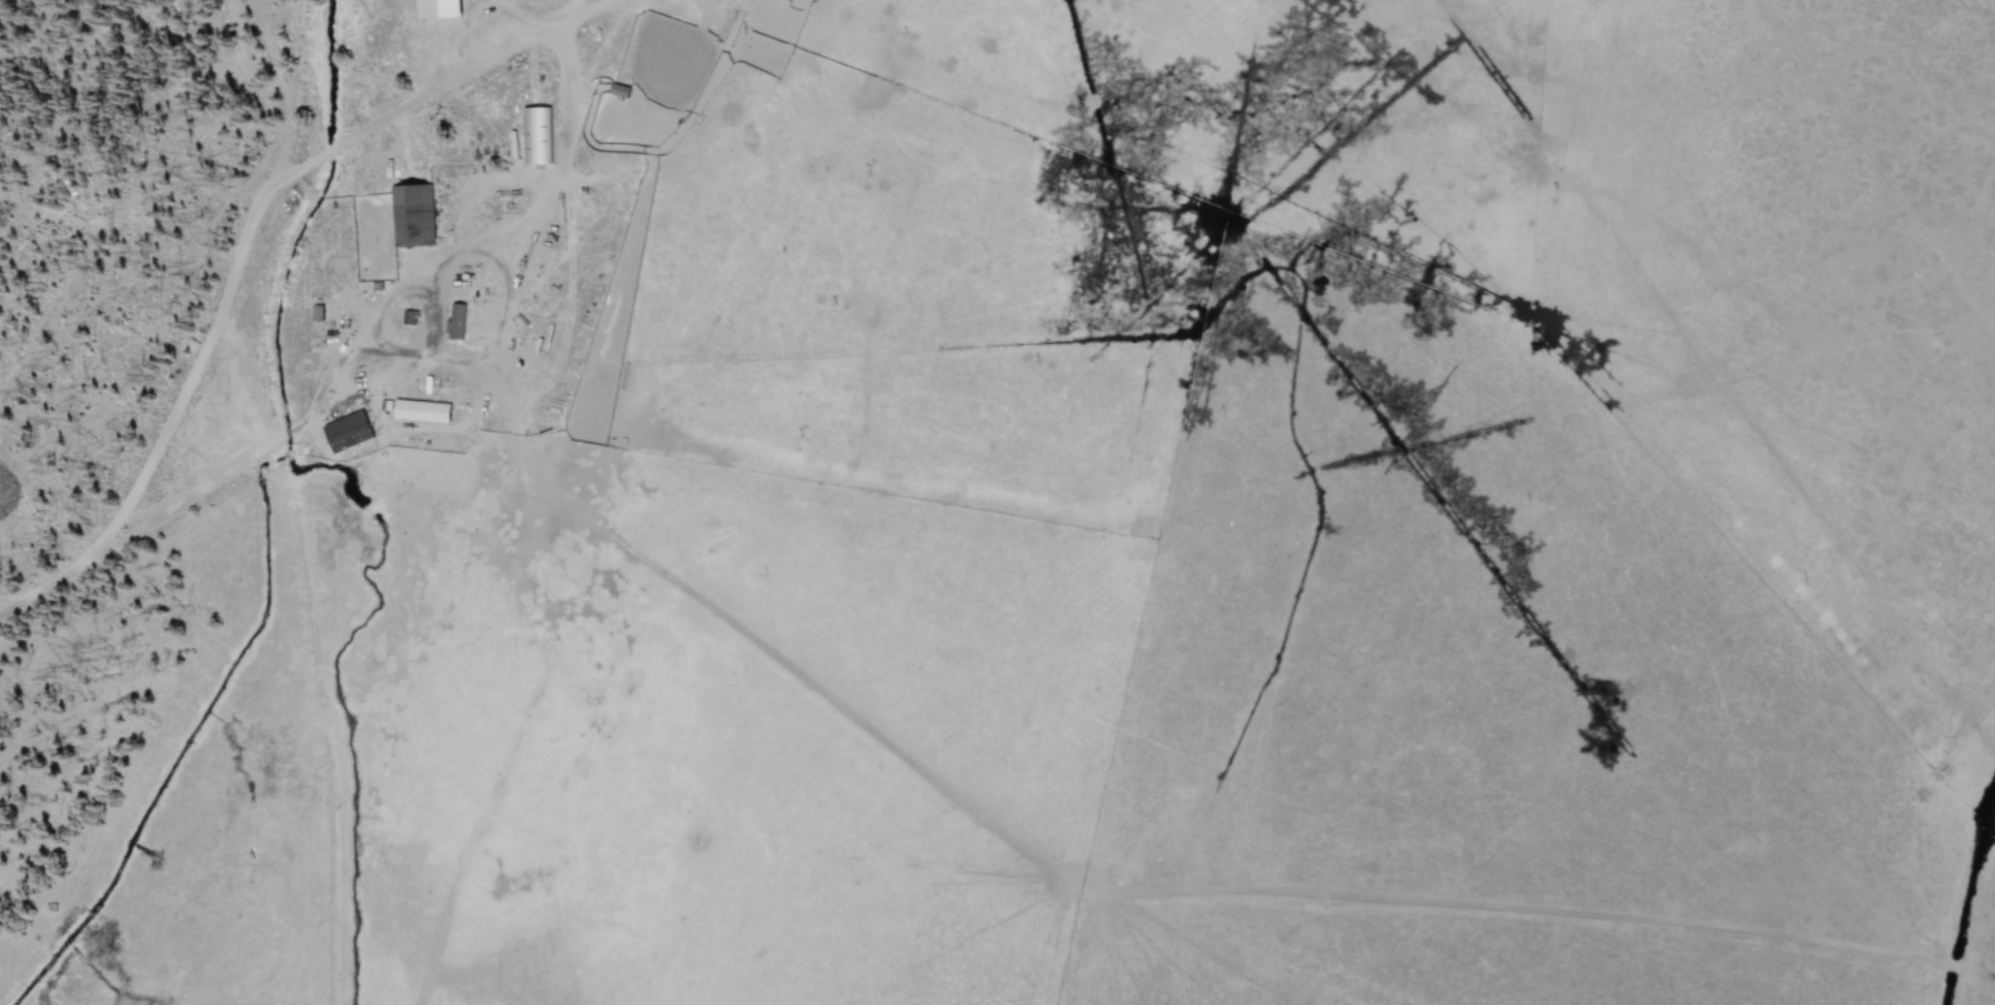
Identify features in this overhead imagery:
building: (439, 8)
building: (537, 135)
building: (414, 214)
building: (410, 317)
building: (457, 320)
building: (418, 409)
building: (348, 431)
road: (155, 513)

